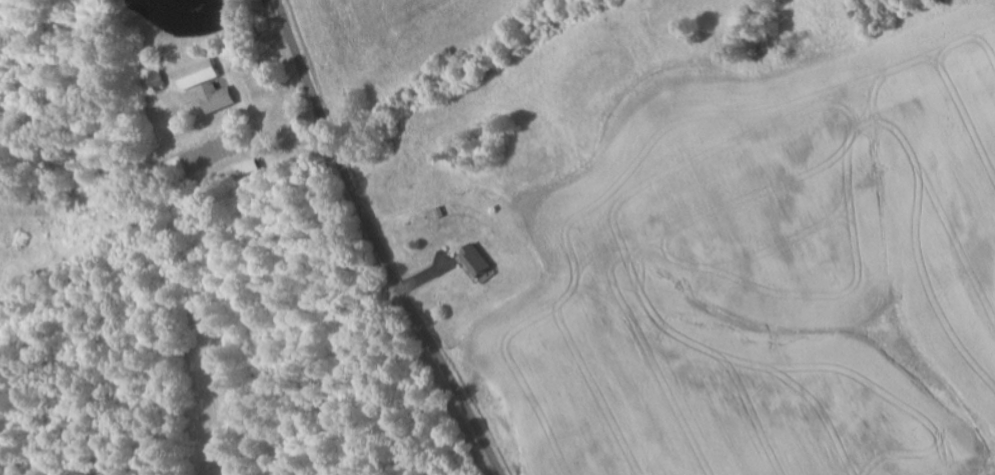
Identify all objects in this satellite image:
building: (199, 74)
building: (217, 98)
road: (375, 243)
building: (477, 260)

